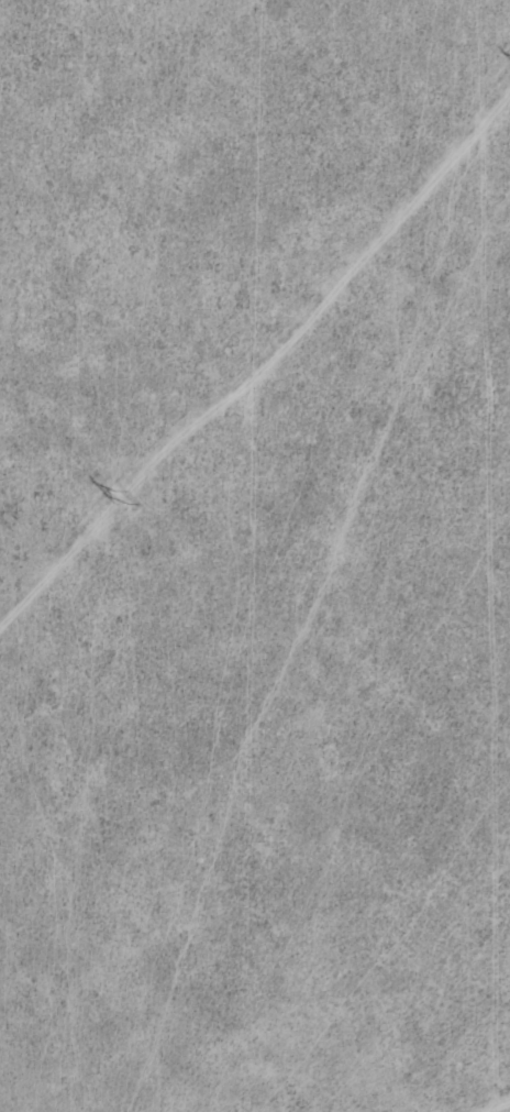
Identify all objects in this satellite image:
power tower: (122, 498)

